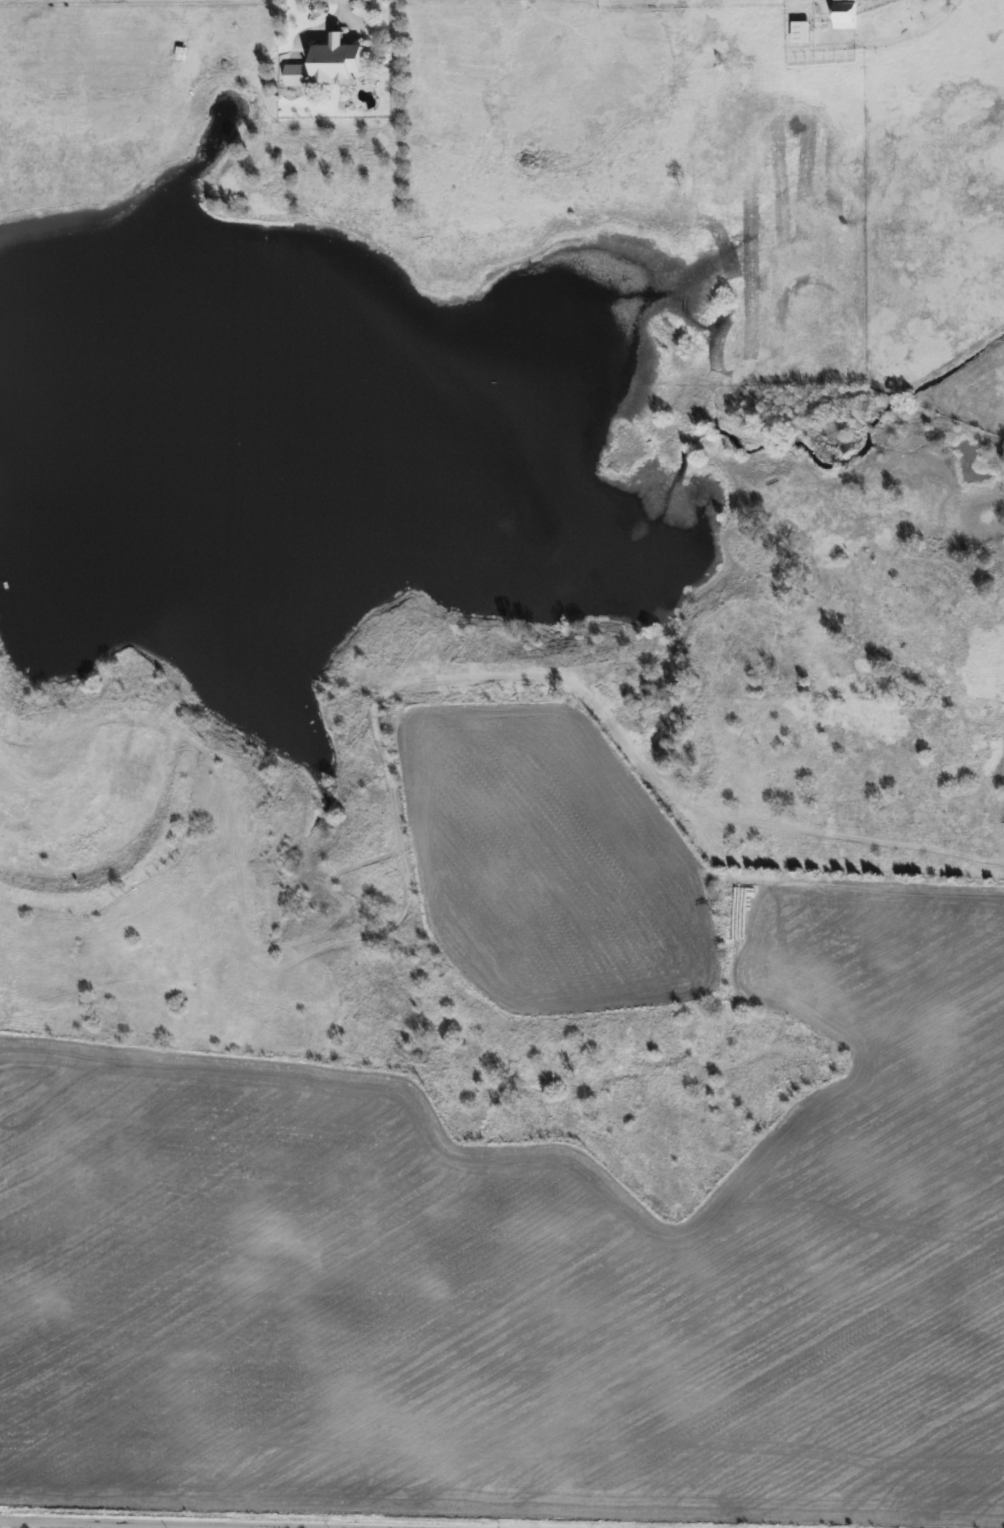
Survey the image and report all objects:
building: (845, 13)
building: (802, 30)
building: (332, 63)
road: (89, 1525)

